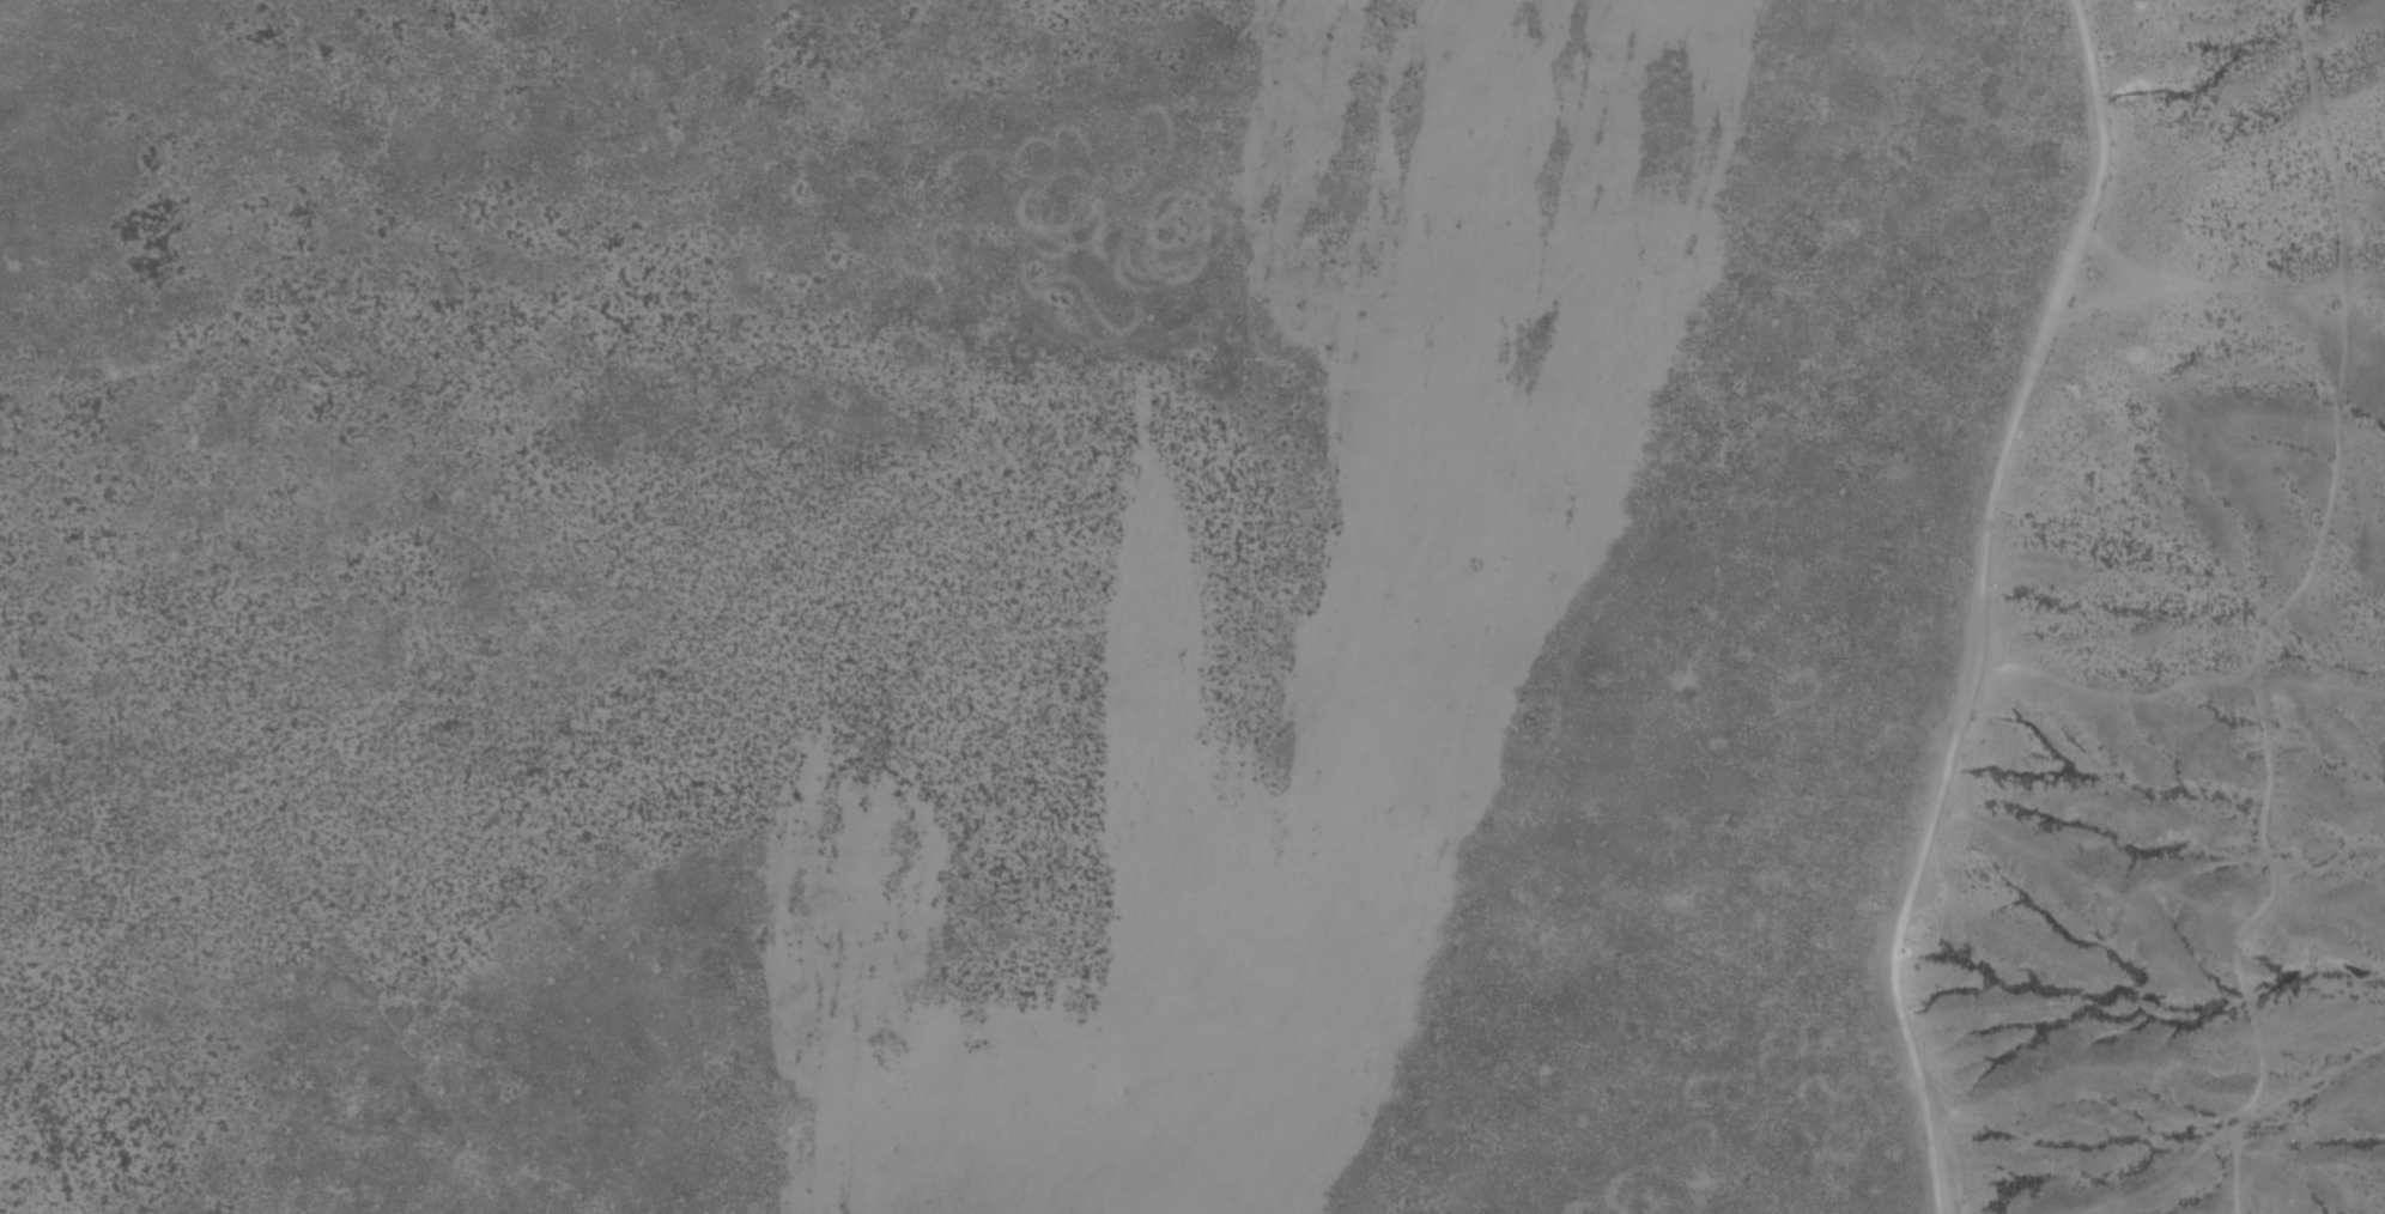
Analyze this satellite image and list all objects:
road: (1984, 601)

